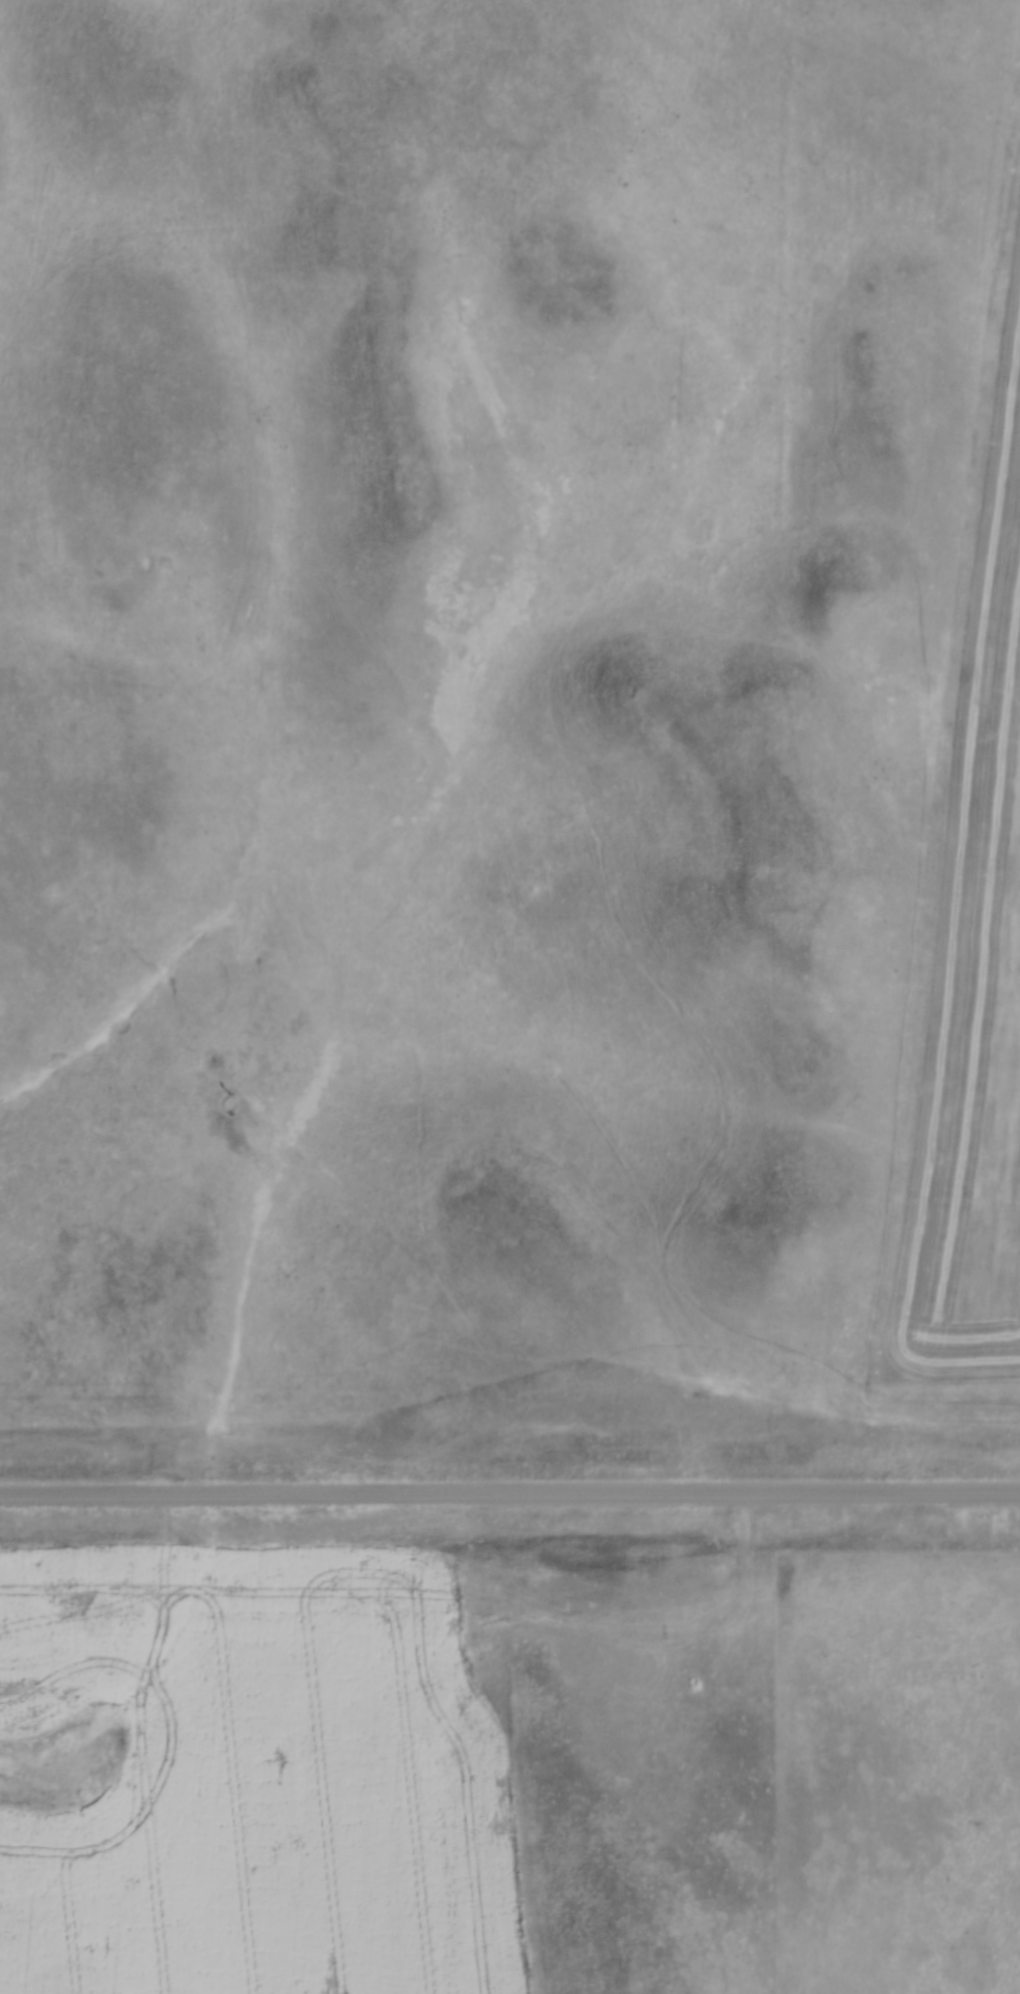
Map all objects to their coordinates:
road: (495, 1055)
road: (509, 1489)

